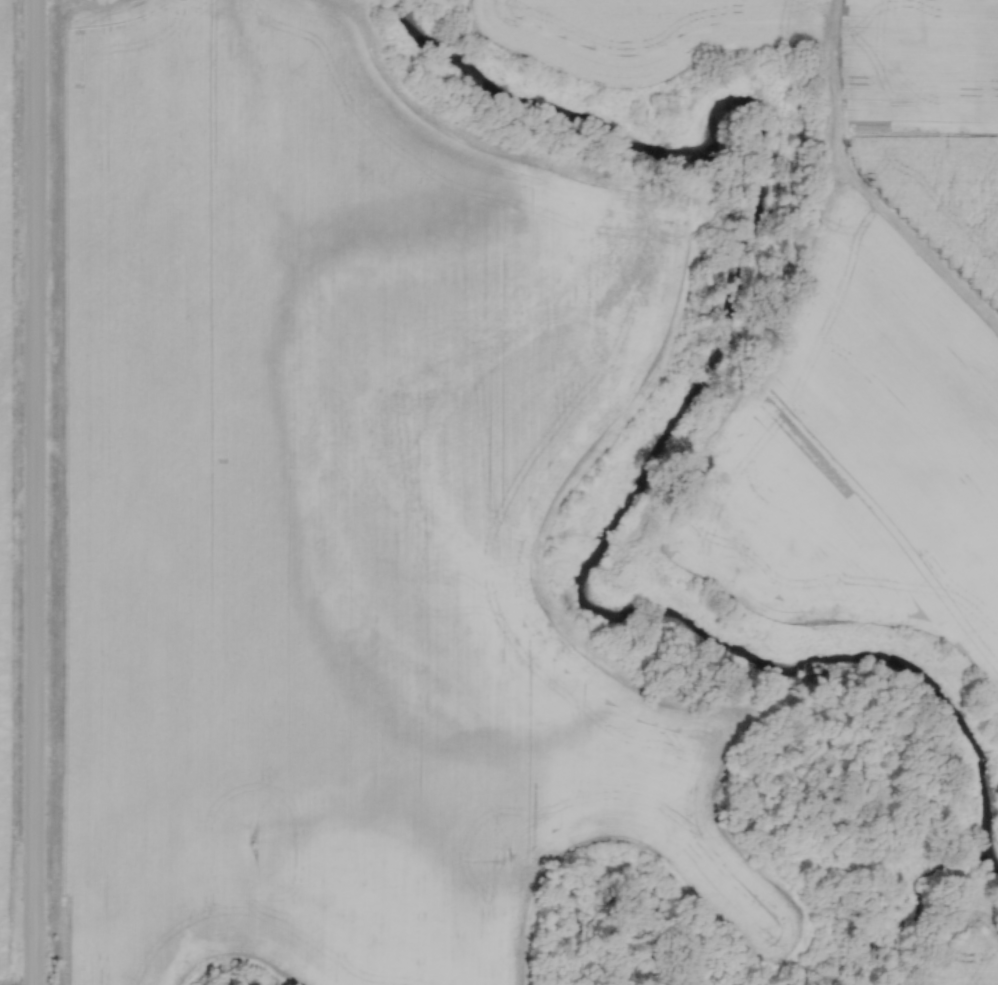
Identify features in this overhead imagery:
river: (649, 453)
road: (37, 492)

